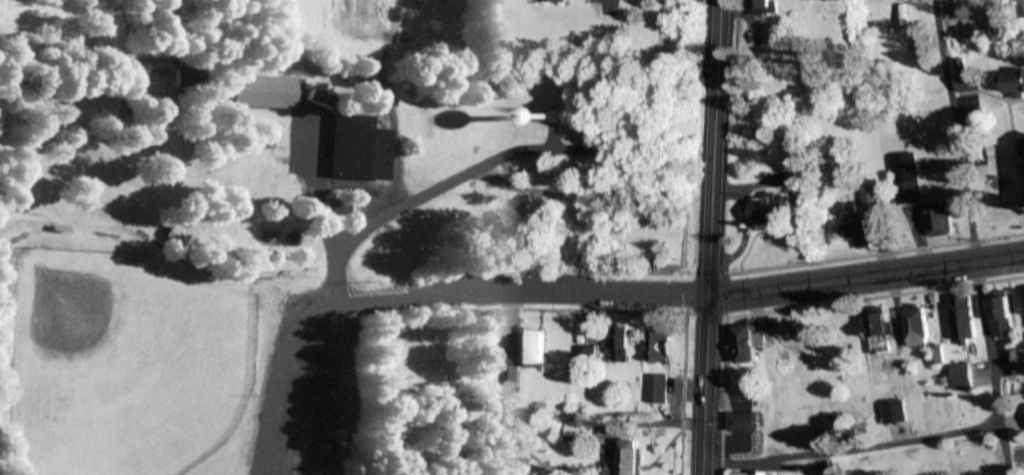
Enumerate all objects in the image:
building: (812, 0)
building: (899, 0)
building: (553, 1)
building: (1022, 4)
road: (610, 5)
building: (768, 7)
building: (950, 14)
crop: (373, 30)
building: (967, 76)
building: (190, 77)
building: (1012, 82)
building: (263, 90)
building: (319, 97)
water tower: (547, 113)
building: (551, 116)
building: (358, 146)
building: (606, 148)
building: (1023, 148)
building: (907, 177)
building: (796, 179)
road: (423, 195)
building: (338, 205)
building: (773, 209)
building: (864, 217)
building: (939, 218)
building: (178, 232)
park: (296, 235)
road: (709, 237)
road: (971, 237)
building: (267, 238)
water tower: (369, 265)
road: (865, 277)
road: (498, 291)
building: (1002, 314)
building: (964, 317)
building: (918, 328)
building: (877, 330)
building: (660, 343)
building: (747, 343)
building: (623, 344)
building: (537, 347)
building: (587, 355)
building: (937, 356)
building: (1019, 362)
building: (963, 375)
building: (513, 376)
building: (658, 387)
road: (272, 398)
building: (1017, 411)
building: (894, 412)
building: (747, 421)
road: (851, 449)
building: (627, 459)
building: (752, 473)

